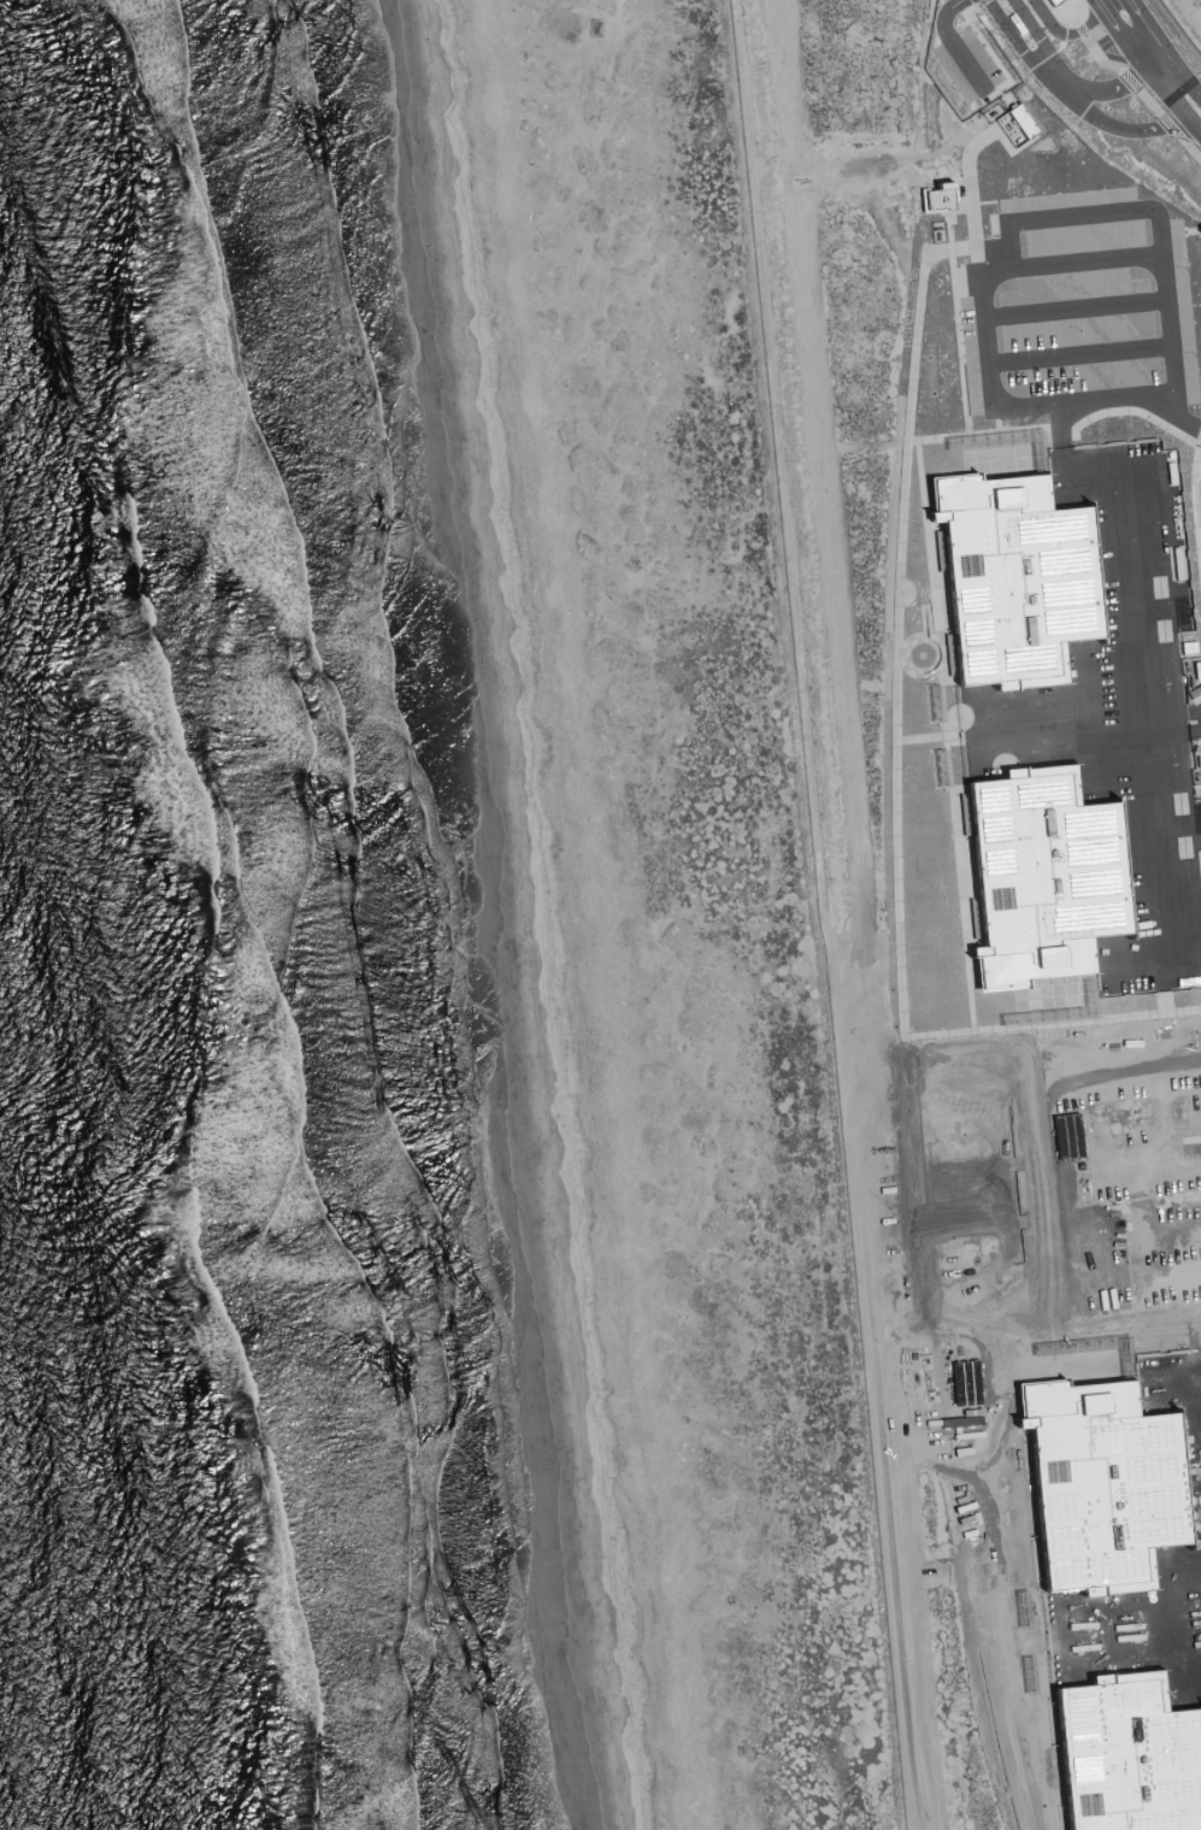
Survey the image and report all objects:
building: (1046, 1)
road: (1168, 28)
road: (1025, 49)
road: (1171, 77)
road: (1118, 86)
road: (1187, 102)
road: (1184, 110)
building: (1013, 119)
road: (1199, 130)
road: (1125, 133)
road: (1007, 932)
road: (1148, 1160)
building: (1135, 1189)
building: (1137, 1244)
road: (879, 1408)
road: (1048, 1563)

